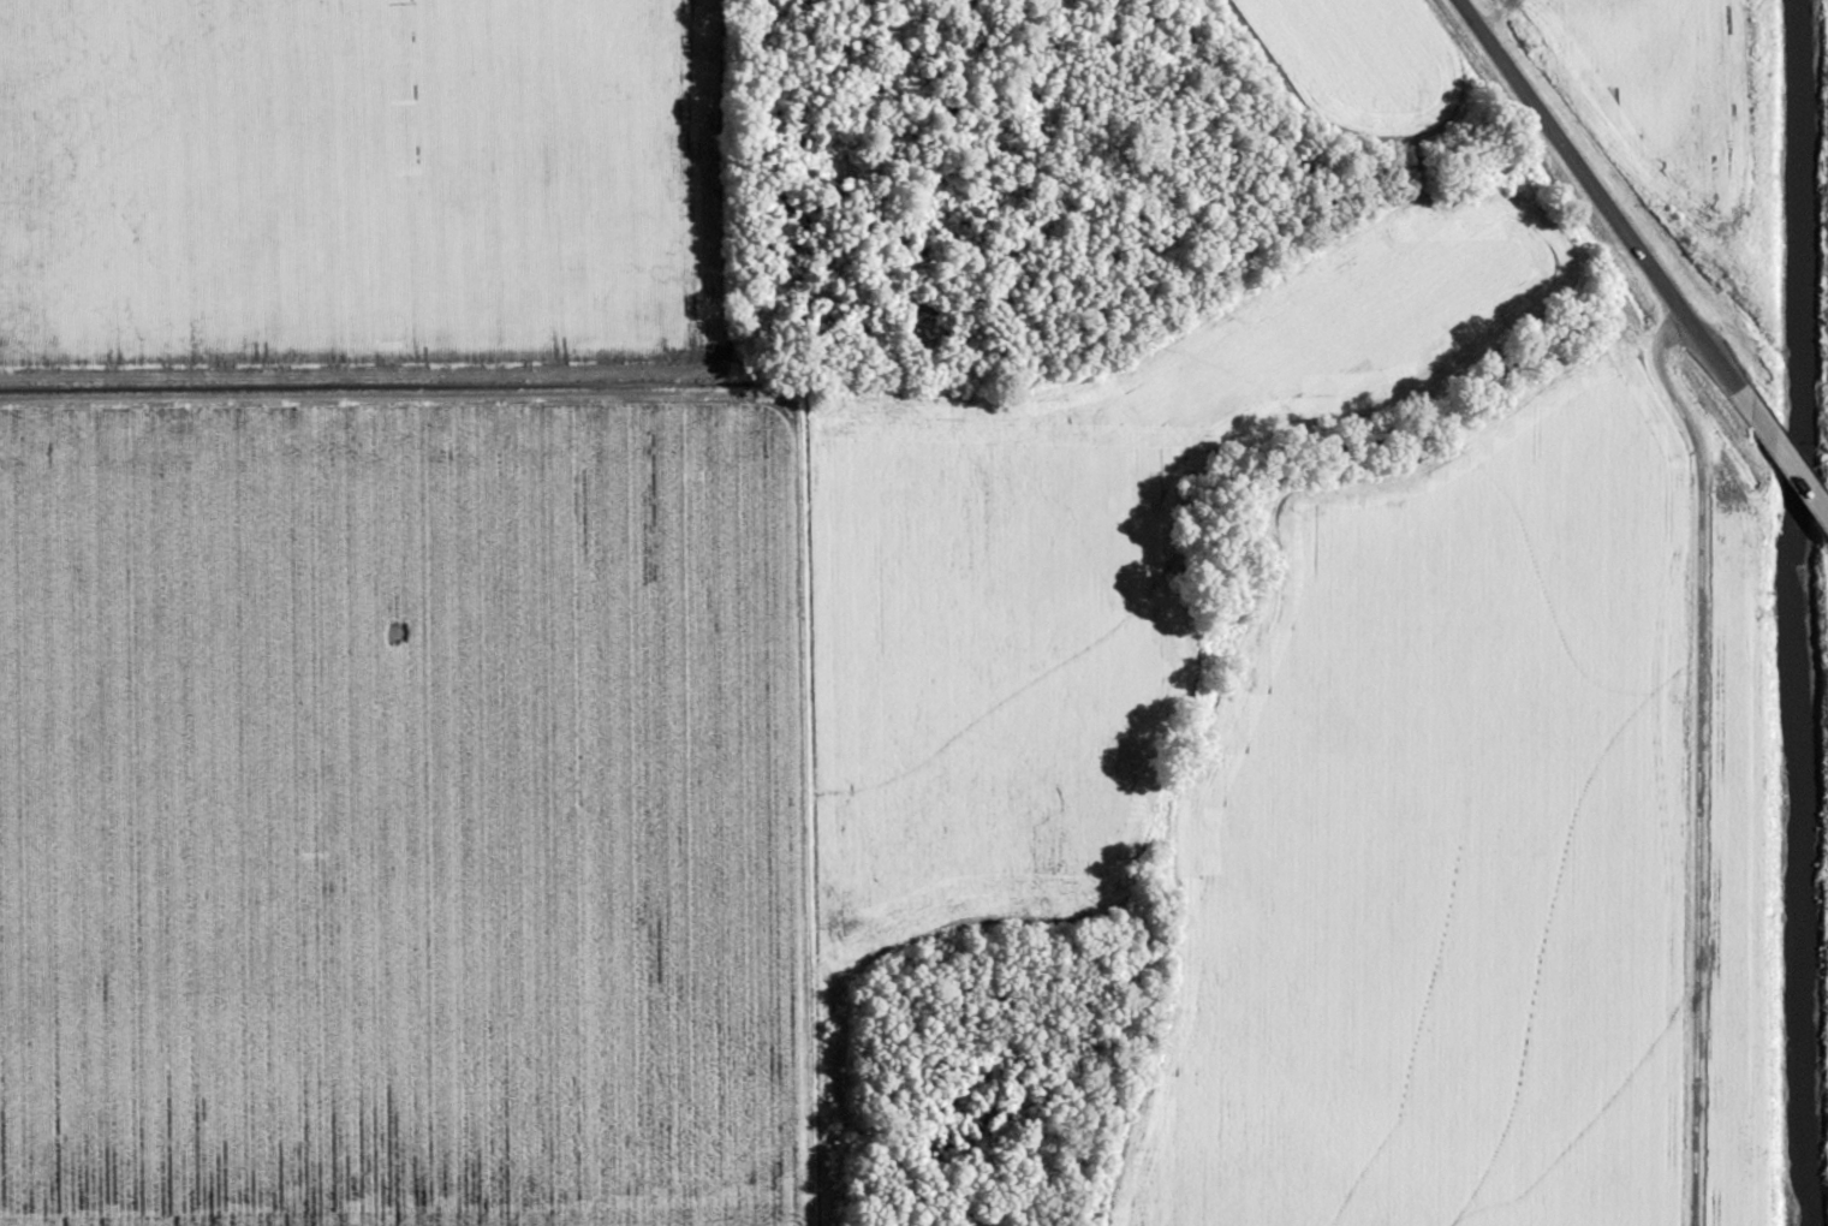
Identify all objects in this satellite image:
road: (1641, 260)
road: (784, 429)
road: (1695, 758)

